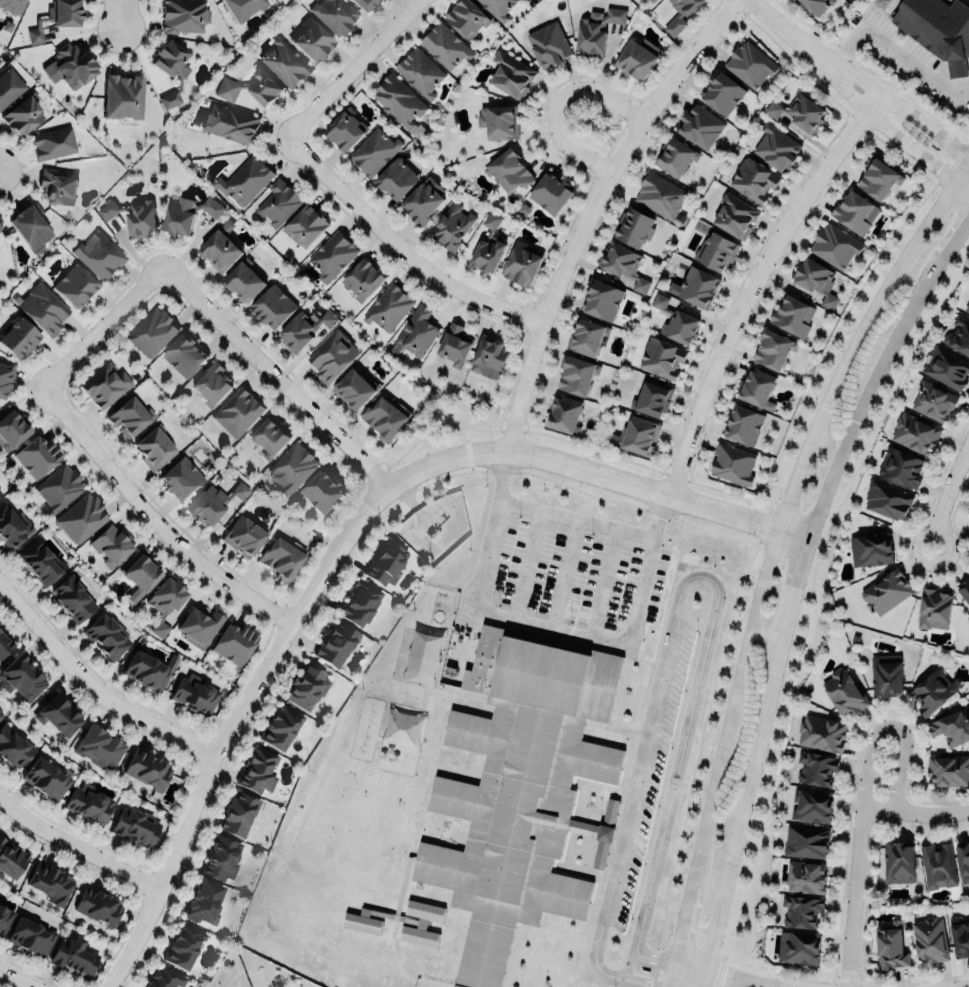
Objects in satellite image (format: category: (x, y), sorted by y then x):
building: (651, 0)
building: (364, 4)
building: (11, 5)
building: (817, 5)
building: (498, 8)
road: (124, 14)
building: (334, 14)
building: (681, 14)
building: (184, 15)
building: (56, 18)
building: (467, 18)
building: (597, 29)
building: (938, 29)
road: (791, 32)
building: (312, 39)
building: (549, 44)
building: (446, 46)
road: (896, 50)
building: (637, 57)
building: (0, 60)
building: (70, 63)
building: (285, 63)
building: (749, 64)
road: (347, 68)
building: (171, 69)
building: (420, 72)
building: (512, 74)
building: (10, 86)
building: (250, 87)
building: (722, 92)
building: (123, 97)
building: (399, 100)
road: (553, 103)
road: (902, 111)
building: (799, 112)
building: (23, 115)
building: (499, 121)
building: (231, 123)
building: (699, 127)
building: (345, 130)
road: (892, 137)
building: (53, 143)
building: (776, 146)
building: (373, 152)
building: (676, 158)
building: (509, 170)
building: (395, 178)
building: (878, 178)
building: (754, 179)
building: (245, 180)
building: (56, 187)
building: (552, 193)
building: (660, 196)
building: (423, 201)
building: (279, 203)
building: (212, 207)
building: (523, 209)
road: (588, 209)
building: (107, 210)
building: (855, 212)
building: (735, 216)
building: (178, 217)
building: (140, 219)
building: (305, 225)
building: (453, 227)
building: (30, 228)
building: (633, 228)
road: (951, 243)
building: (489, 245)
building: (835, 246)
road: (395, 249)
building: (219, 250)
building: (716, 252)
building: (99, 255)
building: (332, 255)
building: (521, 265)
building: (623, 265)
building: (363, 279)
building: (816, 280)
building: (243, 282)
road: (751, 283)
building: (75, 285)
building: (698, 288)
building: (602, 300)
building: (659, 301)
building: (272, 307)
building: (43, 308)
building: (389, 308)
building: (967, 308)
building: (792, 316)
road: (99, 326)
building: (681, 327)
building: (303, 330)
building: (152, 332)
building: (417, 332)
building: (587, 337)
building: (958, 337)
building: (18, 338)
building: (454, 346)
building: (773, 348)
building: (184, 356)
building: (333, 356)
building: (662, 358)
building: (489, 359)
building: (946, 368)
building: (576, 375)
road: (271, 376)
building: (5, 378)
building: (212, 383)
building: (105, 385)
building: (755, 387)
building: (355, 390)
building: (653, 398)
building: (933, 400)
road: (862, 401)
building: (237, 413)
building: (562, 414)
building: (128, 418)
building: (387, 419)
building: (743, 425)
building: (12, 427)
building: (915, 434)
building: (636, 436)
building: (269, 441)
building: (153, 448)
building: (37, 456)
building: (733, 464)
building: (294, 467)
building: (901, 468)
road: (595, 474)
building: (182, 478)
building: (59, 487)
building: (0, 492)
building: (323, 494)
road: (948, 497)
building: (887, 500)
building: (214, 502)
road: (152, 517)
building: (82, 518)
road: (575, 520)
building: (12, 522)
building: (244, 535)
building: (111, 545)
building: (870, 549)
road: (768, 554)
building: (281, 559)
building: (39, 562)
building: (386, 563)
road: (529, 568)
building: (140, 573)
road: (561, 575)
road: (603, 584)
road: (795, 586)
road: (679, 588)
building: (964, 590)
building: (886, 591)
building: (74, 598)
building: (361, 602)
building: (165, 603)
road: (812, 608)
building: (934, 609)
building: (200, 626)
road: (545, 629)
building: (107, 636)
building: (235, 644)
building: (336, 644)
building: (6, 645)
building: (147, 671)
building: (886, 675)
building: (21, 680)
building: (307, 686)
road: (92, 687)
building: (844, 692)
building: (933, 692)
building: (195, 694)
building: (1, 714)
building: (58, 715)
building: (280, 725)
building: (952, 726)
road: (228, 727)
road: (892, 727)
building: (822, 734)
building: (14, 746)
building: (100, 747)
building: (257, 769)
building: (816, 769)
building: (148, 770)
building: (948, 770)
building: (45, 778)
building: (519, 789)
road: (743, 800)
building: (89, 803)
building: (811, 806)
road: (914, 813)
building: (238, 814)
building: (136, 826)
building: (806, 841)
road: (75, 848)
building: (223, 858)
building: (11, 860)
building: (899, 862)
building: (963, 862)
building: (938, 865)
building: (806, 877)
building: (51, 884)
road: (853, 897)
building: (204, 902)
building: (98, 907)
building: (801, 911)
building: (968, 916)
building: (5, 919)
building: (362, 923)
building: (420, 923)
building: (30, 934)
building: (959, 936)
building: (930, 940)
building: (183, 944)
building: (890, 946)
building: (797, 948)
building: (74, 957)
road: (629, 959)
road: (690, 965)
building: (164, 977)
road: (15, 978)
road: (702, 978)
road: (741, 978)
road: (794, 978)
road: (932, 980)
road: (962, 985)

